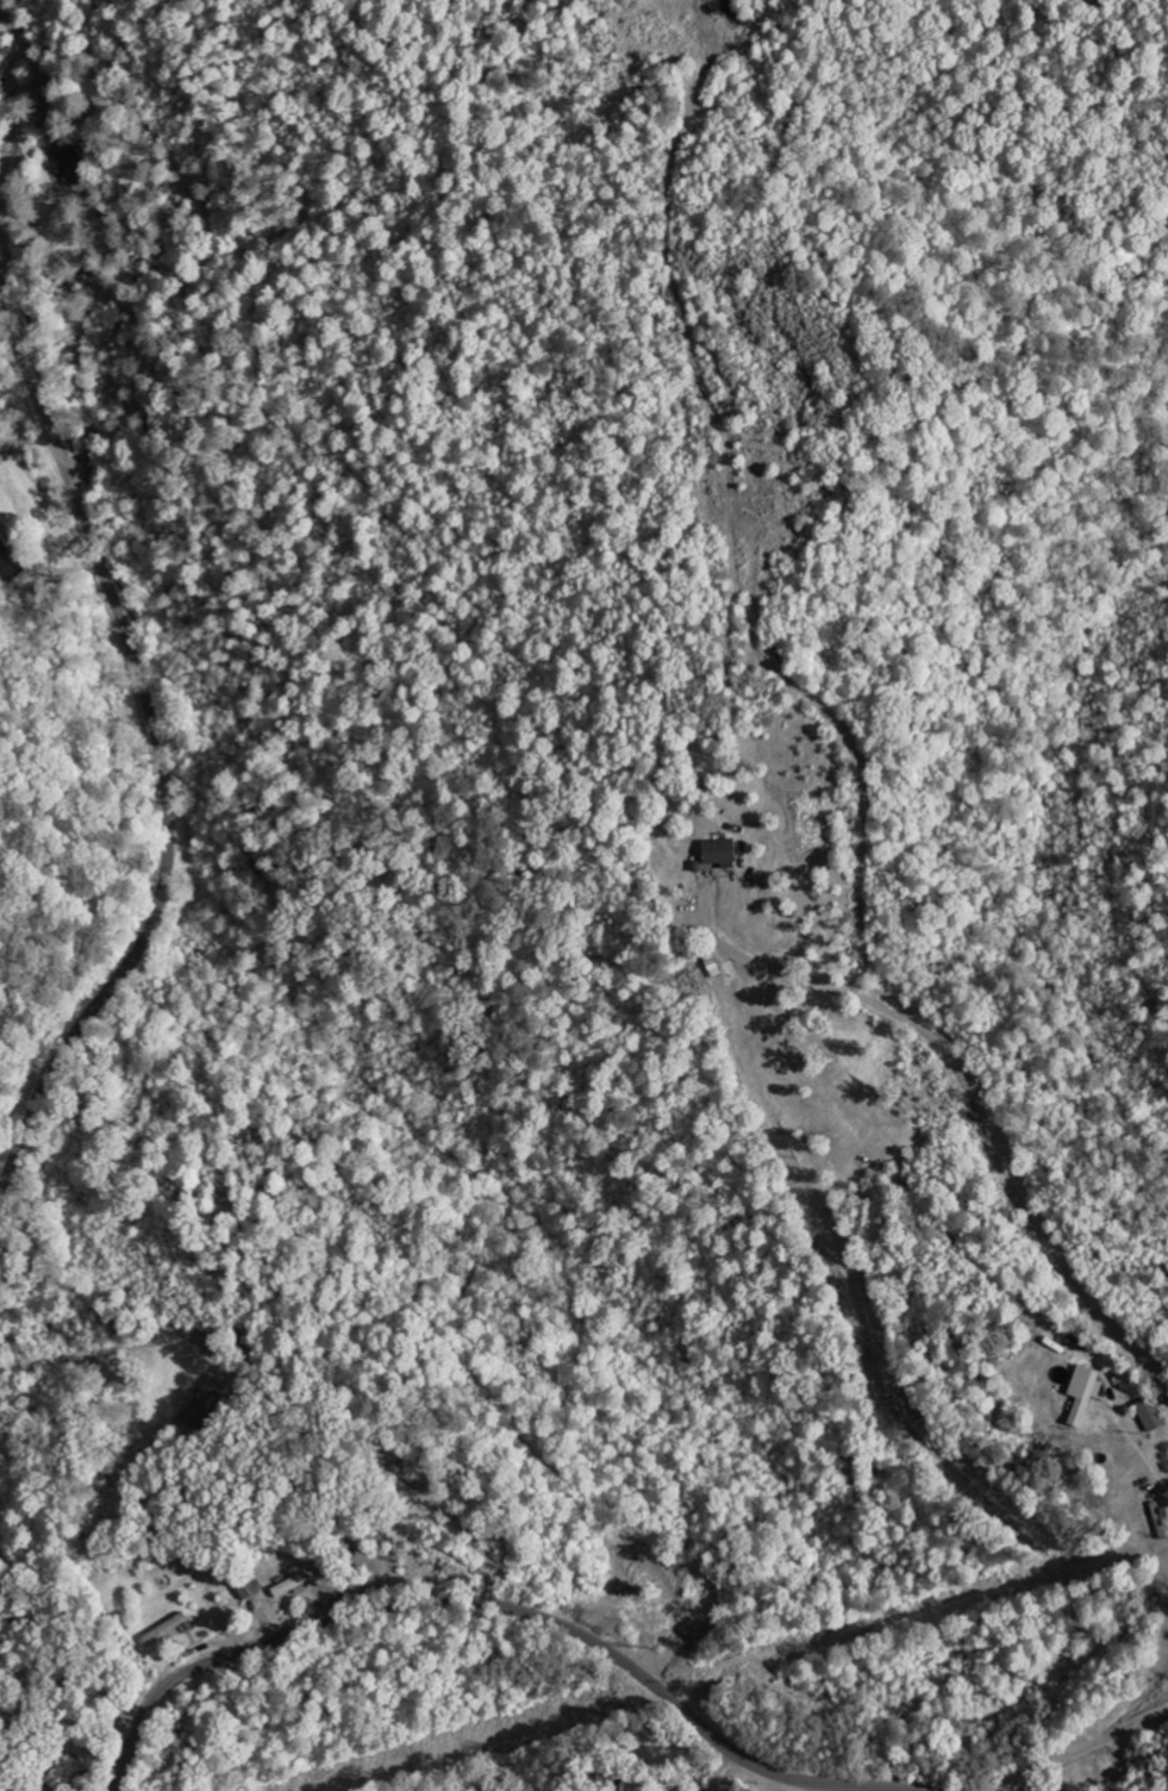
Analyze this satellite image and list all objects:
building: (68, 166)
building: (10, 564)
road: (160, 750)
building: (718, 857)
building: (1085, 1394)
building: (201, 1405)
building: (1154, 1416)
building: (293, 1586)
building: (251, 1587)
road: (494, 1604)
building: (167, 1631)
road: (1113, 1762)
building: (65, 1773)

